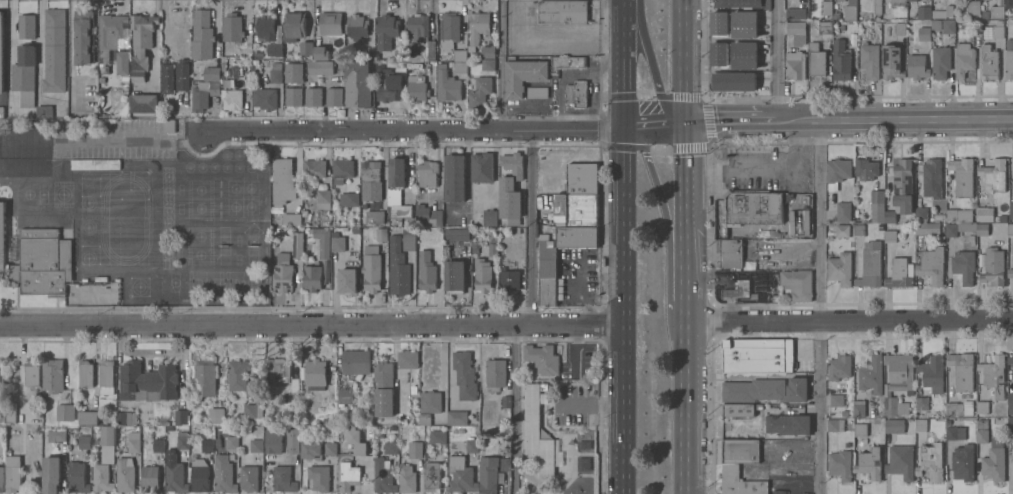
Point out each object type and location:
building: (840, 0)
building: (912, 0)
building: (897, 3)
building: (742, 4)
building: (1008, 4)
building: (877, 7)
building: (826, 8)
building: (973, 8)
building: (563, 12)
building: (849, 13)
building: (923, 13)
building: (943, 13)
building: (997, 13)
building: (795, 14)
building: (984, 15)
building: (836, 17)
building: (718, 23)
building: (999, 23)
building: (330, 24)
building: (744, 24)
building: (935, 24)
building: (295, 26)
building: (356, 27)
building: (449, 27)
building: (478, 27)
building: (948, 27)
building: (26, 28)
building: (266, 28)
building: (825, 28)
building: (232, 29)
building: (972, 29)
building: (900, 30)
building: (386, 32)
building: (992, 33)
building: (795, 34)
building: (924, 34)
building: (109, 35)
building: (421, 35)
parking lot: (547, 35)
building: (201, 36)
road: (8, 38)
building: (83, 38)
building: (141, 45)
building: (1009, 45)
building: (813, 47)
building: (306, 49)
road: (72, 50)
building: (487, 50)
building: (273, 51)
building: (54, 52)
building: (1, 53)
building: (321, 54)
building: (718, 54)
building: (459, 55)
building: (744, 55)
building: (398, 57)
road: (682, 60)
building: (964, 60)
road: (777, 61)
building: (869, 61)
building: (891, 61)
building: (841, 62)
building: (940, 63)
building: (122, 64)
road: (500, 64)
road: (651, 64)
building: (817, 64)
building: (989, 64)
building: (488, 65)
building: (566, 65)
road: (624, 65)
building: (1009, 65)
building: (795, 66)
building: (320, 68)
building: (460, 68)
building: (917, 68)
building: (293, 73)
building: (24, 75)
building: (211, 75)
building: (182, 77)
building: (275, 77)
building: (523, 77)
building: (166, 80)
building: (734, 81)
building: (358, 86)
building: (447, 86)
building: (388, 87)
building: (416, 90)
building: (480, 93)
building: (537, 93)
building: (577, 95)
building: (204, 96)
building: (293, 97)
building: (313, 98)
building: (334, 98)
building: (232, 100)
building: (264, 100)
building: (143, 104)
building: (2, 113)
building: (44, 113)
road: (895, 120)
traffic signals: (683, 121)
road: (730, 121)
road: (653, 125)
building: (169, 127)
road: (367, 130)
road: (578, 130)
traffic signals: (624, 130)
building: (23, 139)
parking lot: (113, 140)
road: (683, 145)
building: (23, 164)
building: (95, 165)
parking lot: (561, 167)
building: (865, 167)
building: (482, 168)
road: (759, 168)
building: (314, 170)
building: (837, 170)
building: (342, 171)
building: (397, 173)
building: (994, 173)
building: (427, 174)
building: (962, 174)
building: (931, 177)
building: (455, 179)
building: (582, 180)
building: (370, 182)
building: (282, 183)
building: (900, 187)
building: (511, 189)
building: (322, 198)
building: (348, 200)
building: (706, 200)
building: (877, 204)
building: (751, 207)
building: (1011, 208)
building: (843, 209)
building: (575, 210)
building: (400, 212)
building: (985, 212)
building: (921, 214)
building: (959, 214)
building: (373, 216)
building: (428, 217)
building: (490, 218)
building: (291, 221)
building: (798, 222)
building: (829, 227)
building: (959, 227)
road: (531, 228)
building: (927, 228)
building: (982, 228)
building: (1010, 228)
building: (842, 229)
building: (859, 229)
building: (2, 234)
building: (457, 235)
building: (890, 235)
building: (381, 236)
building: (576, 237)
road: (668, 238)
building: (408, 241)
building: (322, 242)
building: (340, 244)
building: (297, 246)
building: (492, 250)
building: (731, 252)
building: (500, 254)
building: (547, 260)
building: (43, 261)
building: (601, 262)
building: (932, 263)
building: (993, 265)
building: (963, 266)
building: (371, 267)
building: (397, 267)
building: (839, 267)
building: (870, 267)
building: (282, 271)
building: (426, 271)
building: (900, 272)
building: (1010, 272)
building: (482, 273)
building: (757, 274)
parking lot: (580, 275)
building: (312, 276)
building: (454, 276)
building: (347, 278)
building: (510, 278)
building: (797, 283)
building: (738, 287)
building: (549, 290)
parking lot: (560, 292)
road: (819, 307)
road: (623, 311)
road: (847, 322)
road: (311, 327)
road: (681, 331)
building: (757, 354)
building: (407, 358)
building: (542, 358)
building: (1010, 359)
building: (355, 362)
building: (839, 366)
building: (278, 368)
building: (961, 369)
building: (1, 370)
building: (32, 371)
building: (900, 371)
building: (52, 373)
building: (86, 373)
building: (383, 373)
building: (871, 373)
building: (932, 373)
building: (238, 374)
building: (315, 374)
building: (465, 374)
building: (495, 374)
building: (993, 374)
building: (106, 377)
building: (204, 377)
building: (147, 380)
building: (766, 388)
building: (294, 391)
building: (345, 398)
building: (1010, 398)
building: (836, 399)
building: (891, 402)
building: (921, 402)
building: (430, 404)
building: (505, 404)
building: (254, 405)
building: (984, 406)
building: (859, 407)
building: (959, 407)
building: (740, 408)
road: (514, 410)
building: (395, 411)
building: (7, 412)
building: (65, 413)
building: (844, 413)
building: (180, 415)
building: (216, 416)
building: (123, 417)
building: (87, 418)
building: (456, 418)
building: (424, 419)
building: (390, 421)
building: (324, 422)
building: (787, 423)
building: (834, 424)
building: (894, 425)
parking lot: (572, 426)
building: (1010, 426)
building: (860, 428)
building: (920, 428)
building: (537, 430)
building: (982, 430)
building: (955, 432)
building: (55, 435)
building: (108, 435)
building: (437, 435)
building: (182, 439)
building: (292, 439)
building: (84, 440)
building: (134, 440)
building: (273, 440)
building: (356, 440)
building: (232, 441)
building: (929, 441)
building: (207, 444)
building: (256, 444)
building: (158, 445)
building: (317, 447)
building: (390, 448)
building: (472, 449)
building: (415, 450)
building: (740, 450)
building: (107, 453)
building: (901, 460)
building: (993, 460)
building: (931, 461)
building: (962, 461)
building: (869, 462)
building: (840, 463)
building: (503, 464)
parking lot: (586, 464)
building: (12, 472)
building: (348, 472)
building: (124, 473)
building: (223, 473)
building: (199, 474)
building: (461, 474)
building: (488, 474)
building: (51, 475)
building: (383, 475)
building: (431, 475)
building: (174, 476)
building: (318, 476)
building: (149, 477)
building: (248, 477)
building: (406, 477)
building: (1, 478)
building: (77, 478)
building: (102, 478)
building: (283, 478)
building: (740, 482)

